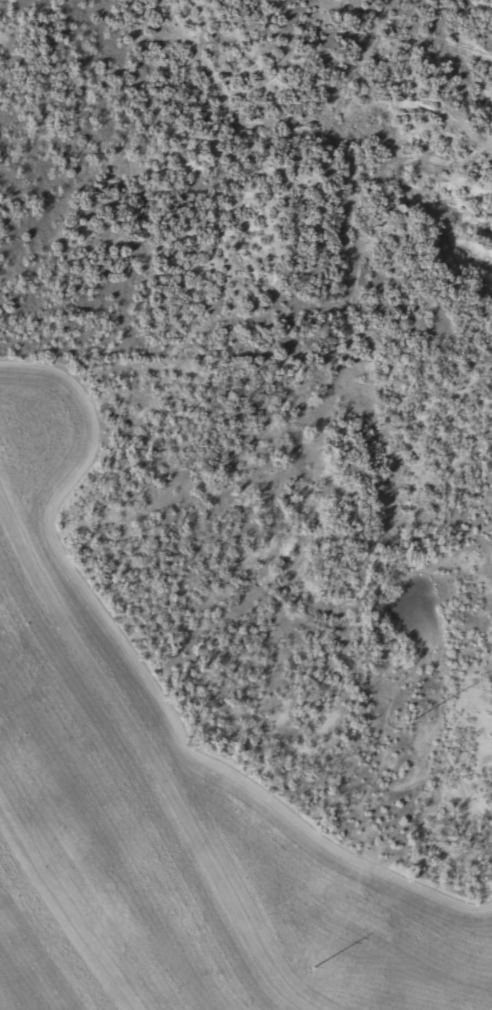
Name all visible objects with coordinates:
power tower: (416, 714)
power tower: (311, 972)

